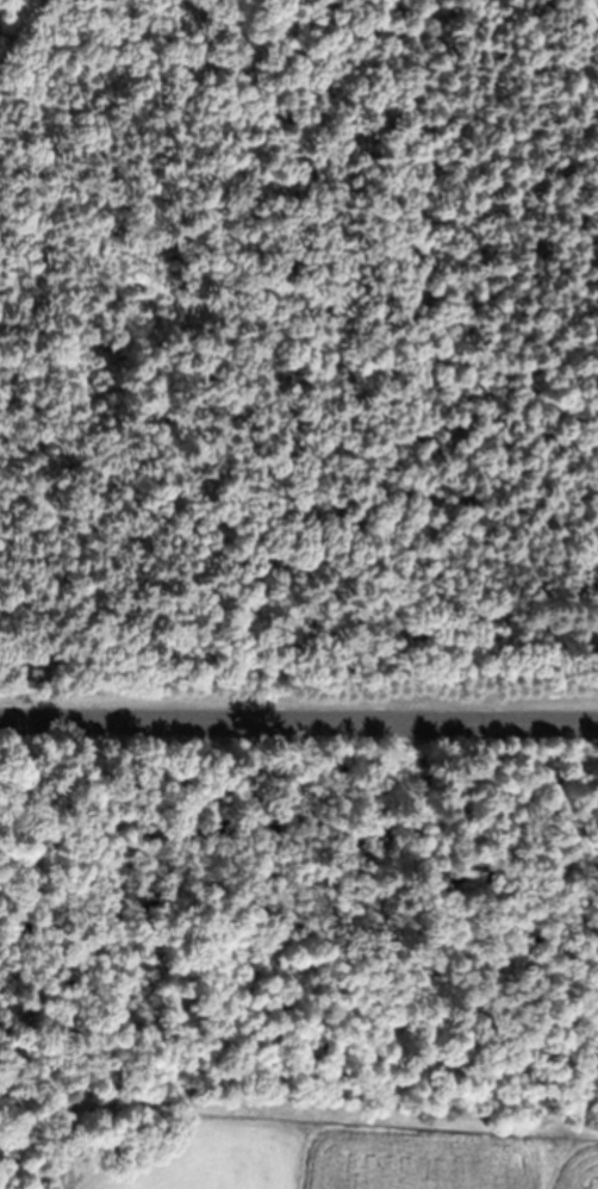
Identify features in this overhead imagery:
road: (298, 723)

